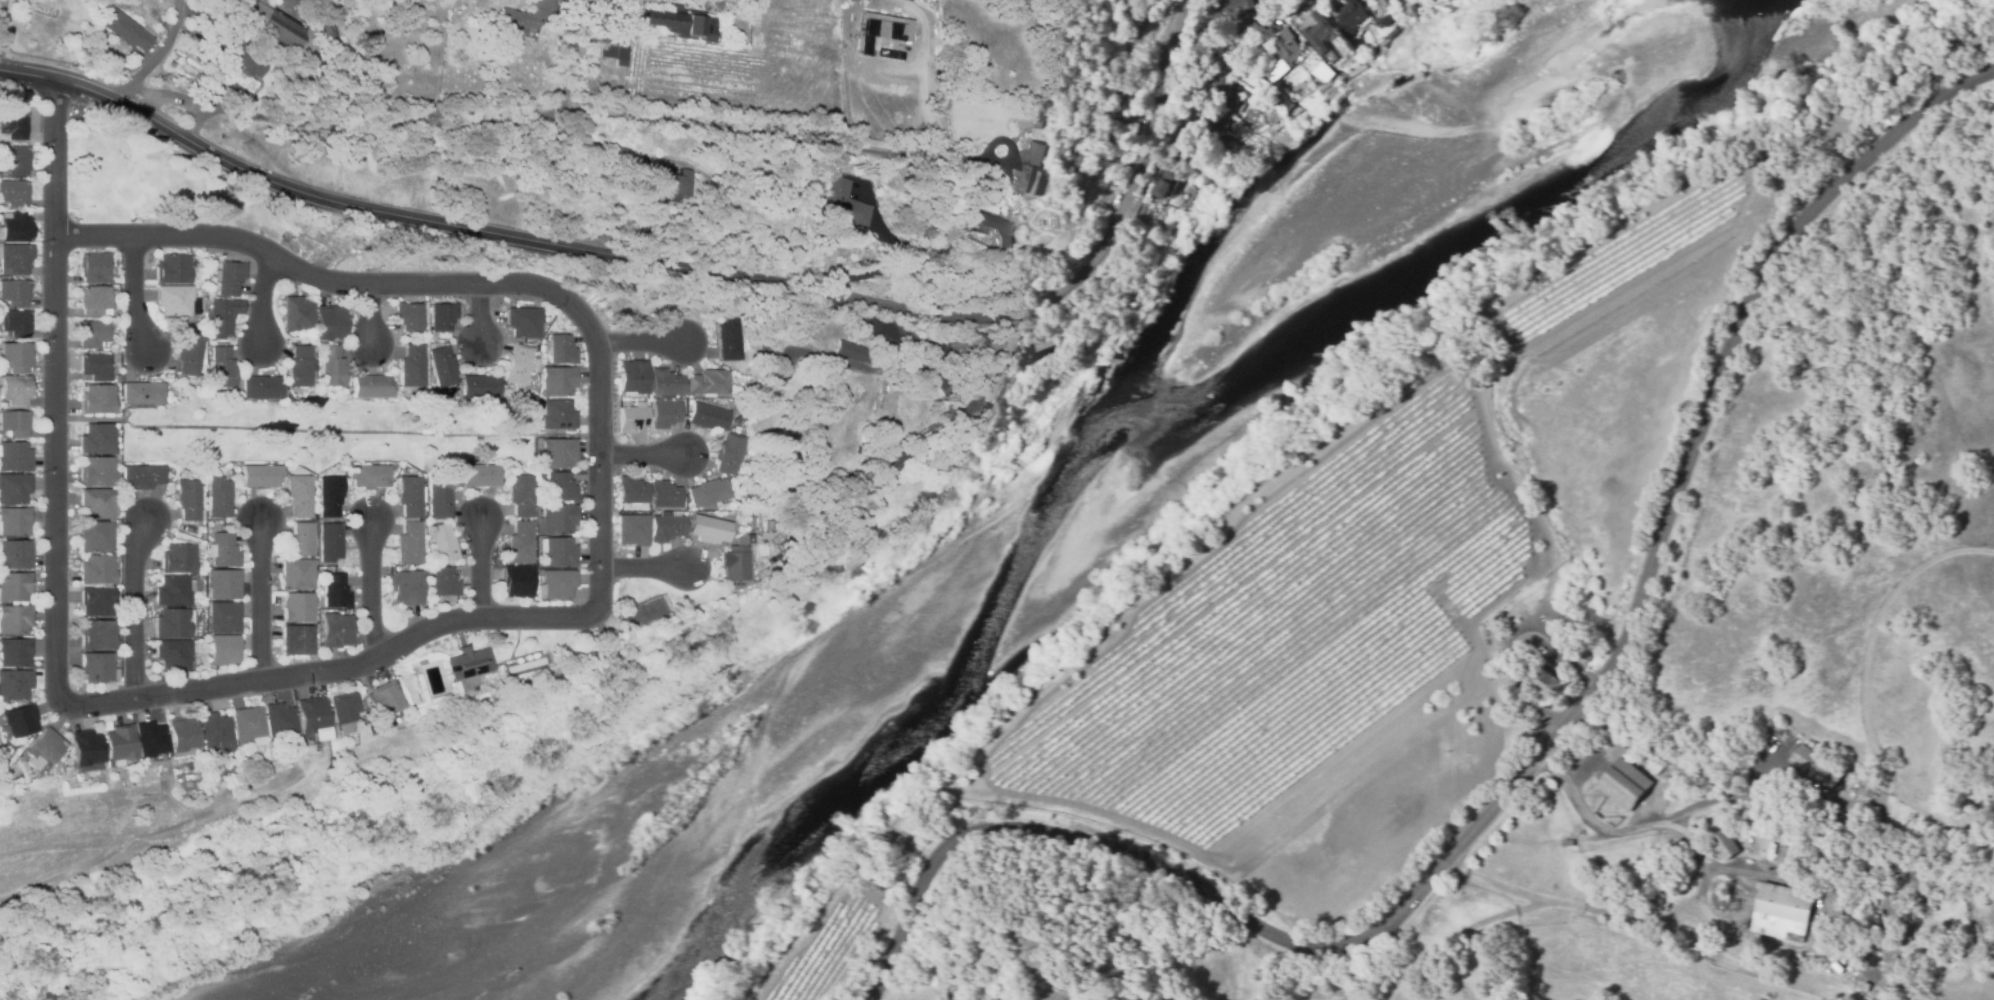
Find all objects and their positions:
building: (1267, 2)
building: (246, 3)
building: (289, 3)
building: (147, 5)
building: (1234, 7)
building: (526, 15)
building: (1351, 15)
building: (680, 23)
building: (274, 26)
building: (128, 30)
building: (328, 32)
building: (1318, 33)
building: (234, 46)
building: (619, 51)
road: (577, 52)
building: (1284, 54)
road: (160, 56)
building: (620, 63)
building: (250, 64)
building: (1322, 72)
road: (1207, 82)
building: (1120, 88)
building: (1223, 93)
building: (246, 100)
building: (1112, 112)
building: (1043, 122)
building: (1210, 124)
building: (12, 126)
road: (340, 126)
road: (774, 133)
building: (1183, 144)
building: (622, 153)
building: (14, 160)
building: (1032, 170)
building: (670, 180)
building: (1164, 181)
building: (14, 193)
building: (651, 196)
building: (843, 203)
building: (15, 227)
building: (989, 230)
building: (15, 259)
building: (94, 267)
building: (172, 269)
road: (682, 269)
road: (312, 276)
building: (228, 277)
building: (115, 280)
building: (14, 292)
road: (135, 297)
building: (174, 299)
road: (263, 299)
building: (95, 301)
building: (297, 314)
road: (477, 315)
road: (368, 316)
building: (409, 316)
building: (221, 317)
building: (441, 319)
building: (523, 322)
building: (15, 323)
building: (330, 323)
building: (93, 334)
building: (729, 340)
road: (642, 344)
building: (429, 345)
building: (559, 349)
building: (993, 350)
building: (854, 351)
building: (189, 353)
building: (16, 357)
building: (517, 365)
building: (95, 366)
building: (300, 366)
building: (330, 366)
building: (412, 366)
building: (441, 366)
building: (220, 367)
building: (3, 372)
building: (633, 377)
building: (117, 378)
building: (558, 380)
building: (665, 383)
building: (708, 383)
building: (261, 387)
building: (371, 387)
building: (479, 387)
building: (15, 389)
road: (54, 391)
building: (142, 394)
building: (454, 397)
building: (98, 399)
building: (3, 404)
building: (555, 414)
building: (665, 414)
building: (632, 417)
building: (708, 417)
building: (14, 423)
river: (1142, 436)
building: (97, 439)
building: (558, 453)
building: (729, 453)
building: (15, 456)
road: (643, 456)
road: (600, 457)
building: (899, 463)
building: (97, 471)
building: (261, 475)
building: (369, 475)
building: (477, 475)
building: (142, 477)
building: (868, 480)
building: (560, 486)
building: (14, 488)
building: (632, 490)
building: (707, 494)
building: (299, 495)
building: (411, 495)
building: (520, 495)
building: (665, 495)
building: (329, 496)
building: (218, 497)
building: (439, 498)
building: (189, 500)
building: (98, 503)
building: (314, 516)
building: (556, 519)
building: (15, 521)
building: (738, 525)
building: (747, 526)
building: (666, 528)
building: (708, 528)
building: (183, 529)
building: (632, 530)
building: (96, 537)
building: (301, 539)
building: (329, 541)
building: (443, 542)
building: (747, 542)
building: (409, 543)
building: (520, 543)
building: (223, 551)
building: (559, 553)
building: (15, 554)
building: (178, 558)
building: (733, 563)
road: (480, 567)
road: (642, 569)
building: (97, 570)
building: (297, 575)
building: (201, 576)
building: (517, 580)
building: (443, 582)
building: (555, 583)
building: (223, 584)
building: (14, 586)
building: (406, 587)
road: (372, 588)
building: (174, 590)
building: (333, 592)
building: (97, 601)
road: (260, 602)
building: (297, 607)
road: (134, 610)
building: (223, 618)
building: (15, 619)
building: (1558, 620)
building: (174, 623)
building: (336, 630)
building: (98, 635)
building: (297, 640)
building: (223, 649)
building: (15, 652)
building: (173, 654)
building: (1580, 655)
building: (420, 661)
building: (466, 663)
building: (96, 667)
road: (333, 670)
building: (1541, 680)
building: (15, 684)
building: (419, 688)
building: (384, 698)
building: (435, 699)
building: (343, 708)
building: (313, 719)
building: (19, 720)
building: (279, 722)
building: (248, 725)
building: (215, 732)
building: (182, 736)
building: (150, 740)
building: (118, 744)
building: (1792, 745)
building: (42, 749)
building: (85, 749)
building: (66, 759)
road: (1530, 764)
building: (1815, 766)
building: (0, 779)
building: (1624, 784)
road: (1646, 828)
building: (1725, 845)
building: (1673, 848)
building: (1791, 858)
building: (1907, 877)
road: (1585, 902)
building: (1781, 912)
building: (1865, 987)

